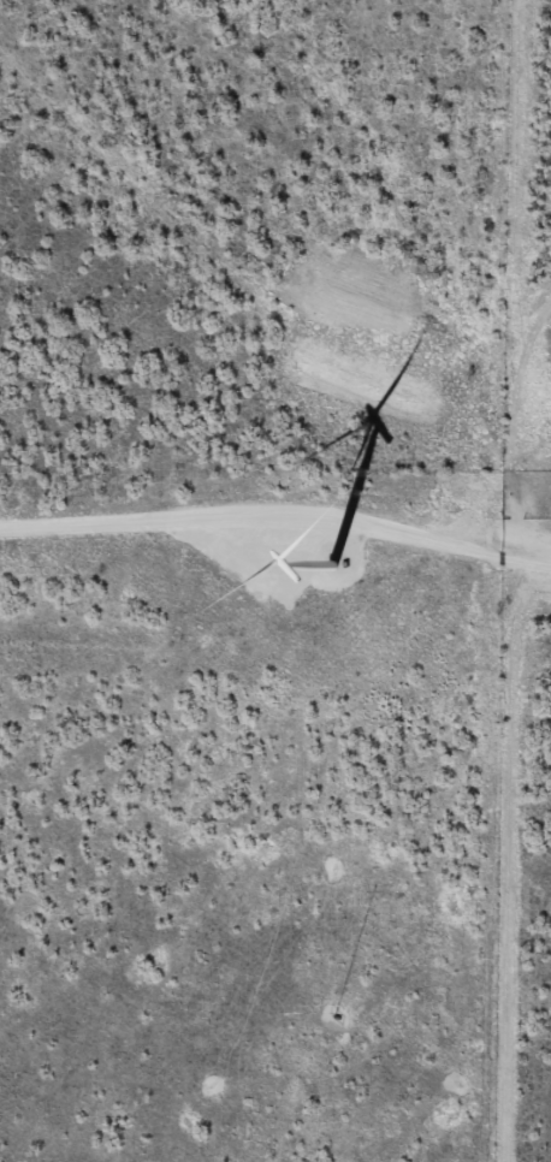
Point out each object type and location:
wind turbine: (312, 568)

